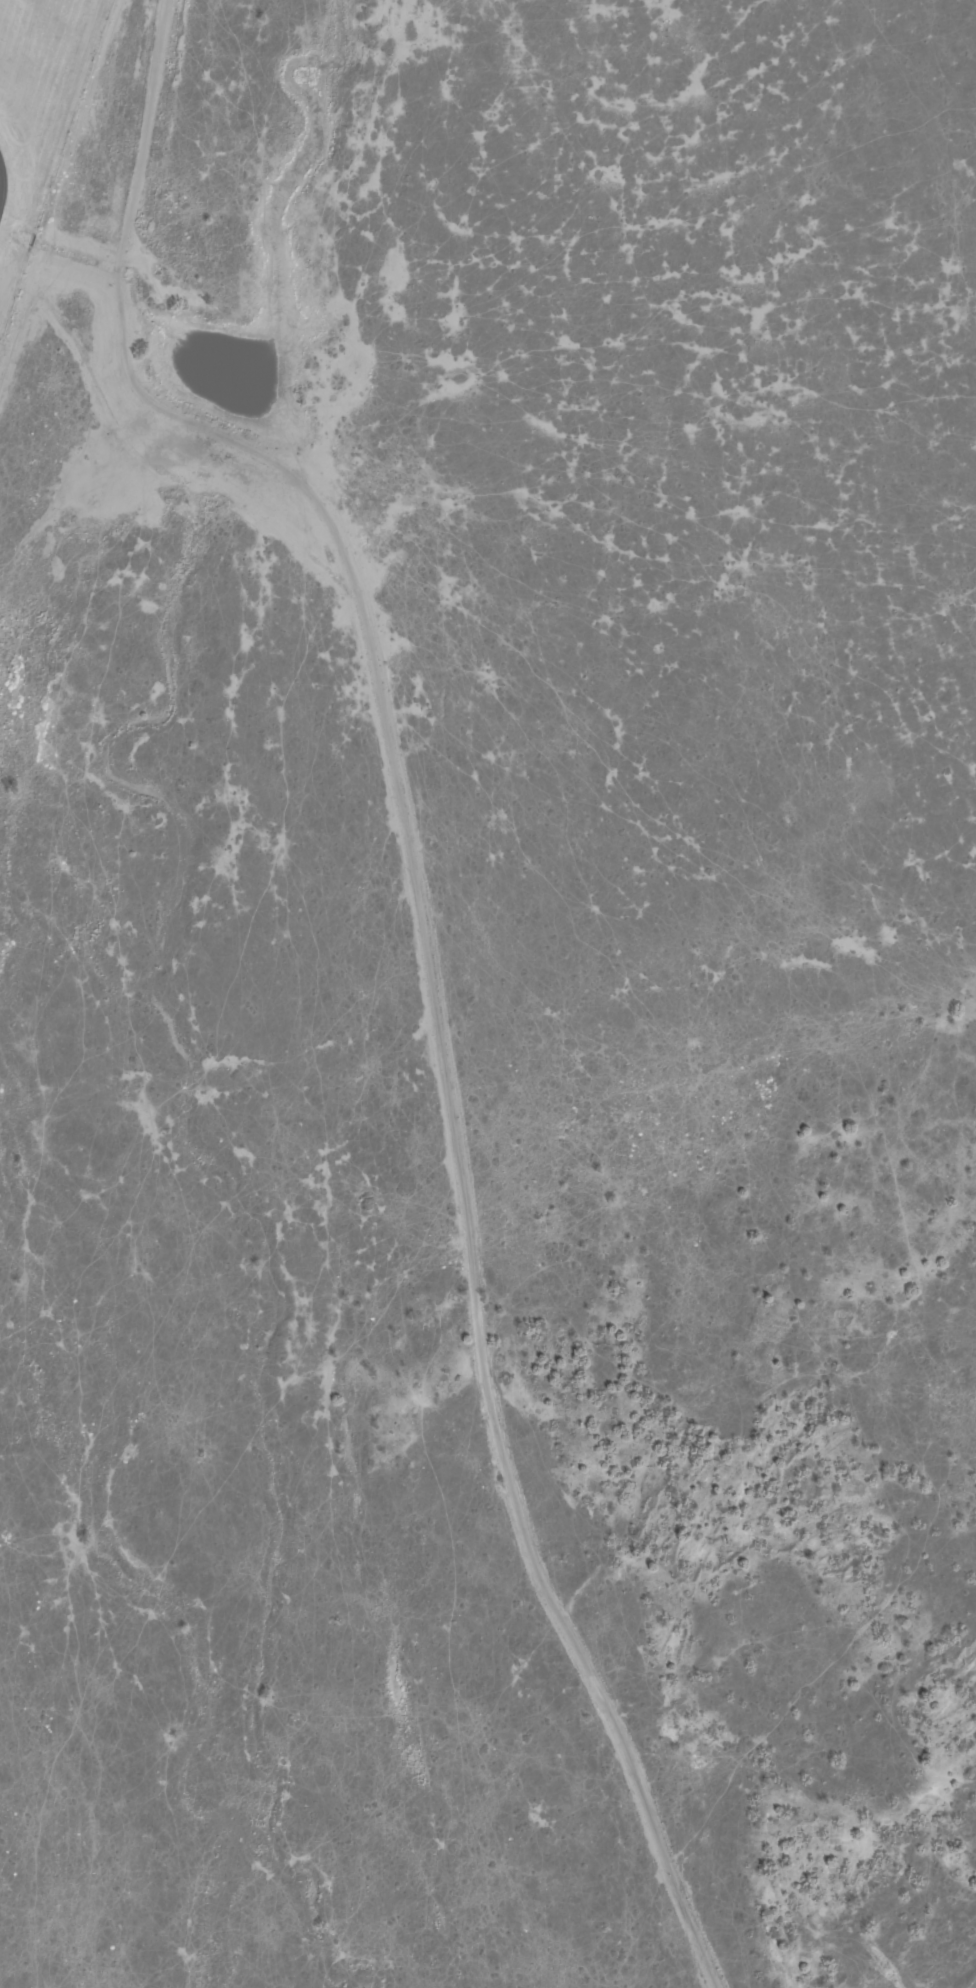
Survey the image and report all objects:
airport: (38, 117)
road: (138, 214)
road: (441, 1092)

